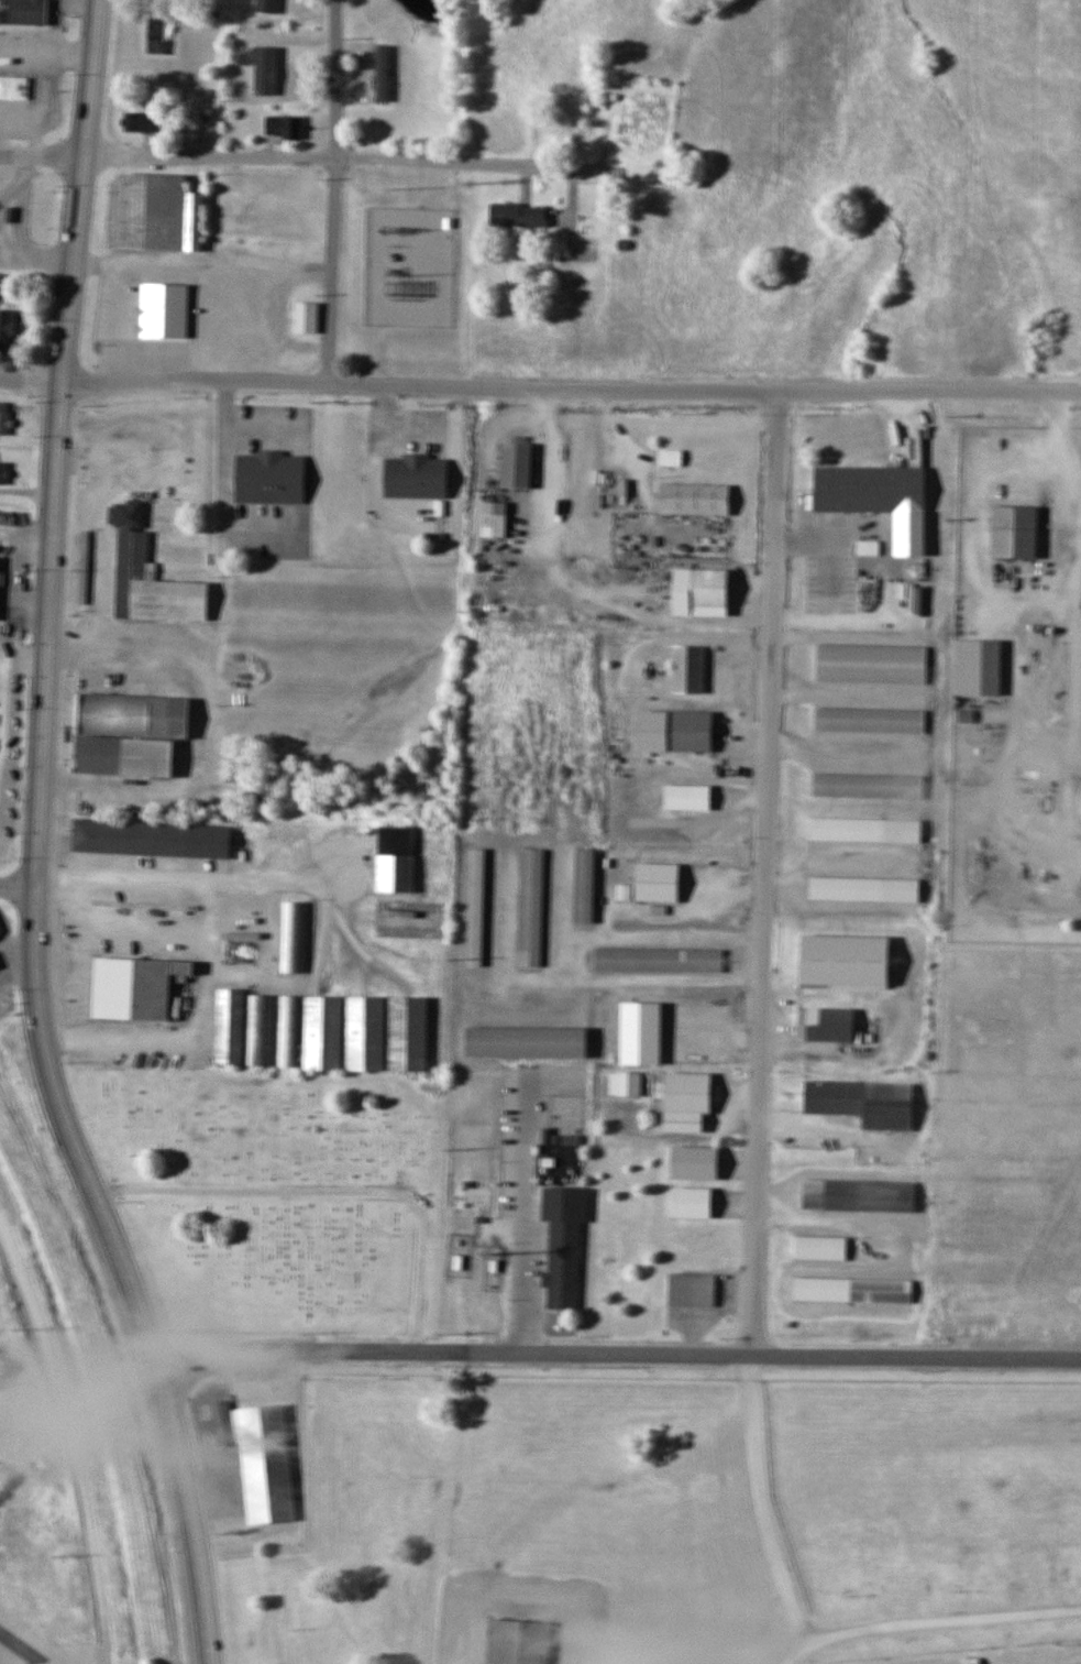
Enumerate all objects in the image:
building: (269, 1)
building: (24, 12)
building: (287, 68)
building: (382, 73)
building: (21, 88)
building: (142, 122)
building: (283, 127)
building: (636, 135)
road: (300, 156)
road: (78, 190)
road: (334, 190)
building: (154, 214)
building: (518, 215)
power substation: (406, 264)
building: (167, 308)
building: (305, 318)
building: (7, 331)
road: (540, 388)
building: (5, 418)
building: (670, 457)
building: (516, 464)
building: (3, 473)
building: (413, 475)
building: (267, 478)
building: (868, 486)
building: (694, 497)
building: (493, 518)
building: (1015, 530)
building: (137, 534)
building: (2, 577)
building: (699, 591)
building: (871, 663)
building: (978, 666)
building: (687, 668)
building: (869, 719)
building: (132, 725)
building: (688, 729)
building: (867, 784)
building: (686, 796)
building: (868, 821)
building: (154, 831)
building: (396, 858)
road: (765, 872)
building: (661, 875)
building: (867, 882)
building: (585, 885)
road: (18, 886)
building: (476, 906)
building: (531, 906)
building: (1, 931)
building: (294, 938)
building: (665, 953)
building: (847, 956)
building: (135, 981)
building: (830, 1023)
building: (230, 1027)
building: (260, 1029)
building: (641, 1030)
building: (289, 1031)
building: (409, 1031)
building: (323, 1032)
building: (366, 1032)
road: (44, 1034)
building: (527, 1034)
building: (626, 1083)
building: (688, 1099)
building: (865, 1101)
road: (330, 1190)
park: (282, 1194)
building: (858, 1194)
building: (693, 1200)
building: (566, 1245)
building: (821, 1245)
building: (854, 1288)
building: (692, 1289)
road: (619, 1350)
park: (51, 1433)
road: (71, 1438)
building: (261, 1455)
road: (764, 1496)
road: (920, 1617)
building: (520, 1636)
road: (22, 1649)

